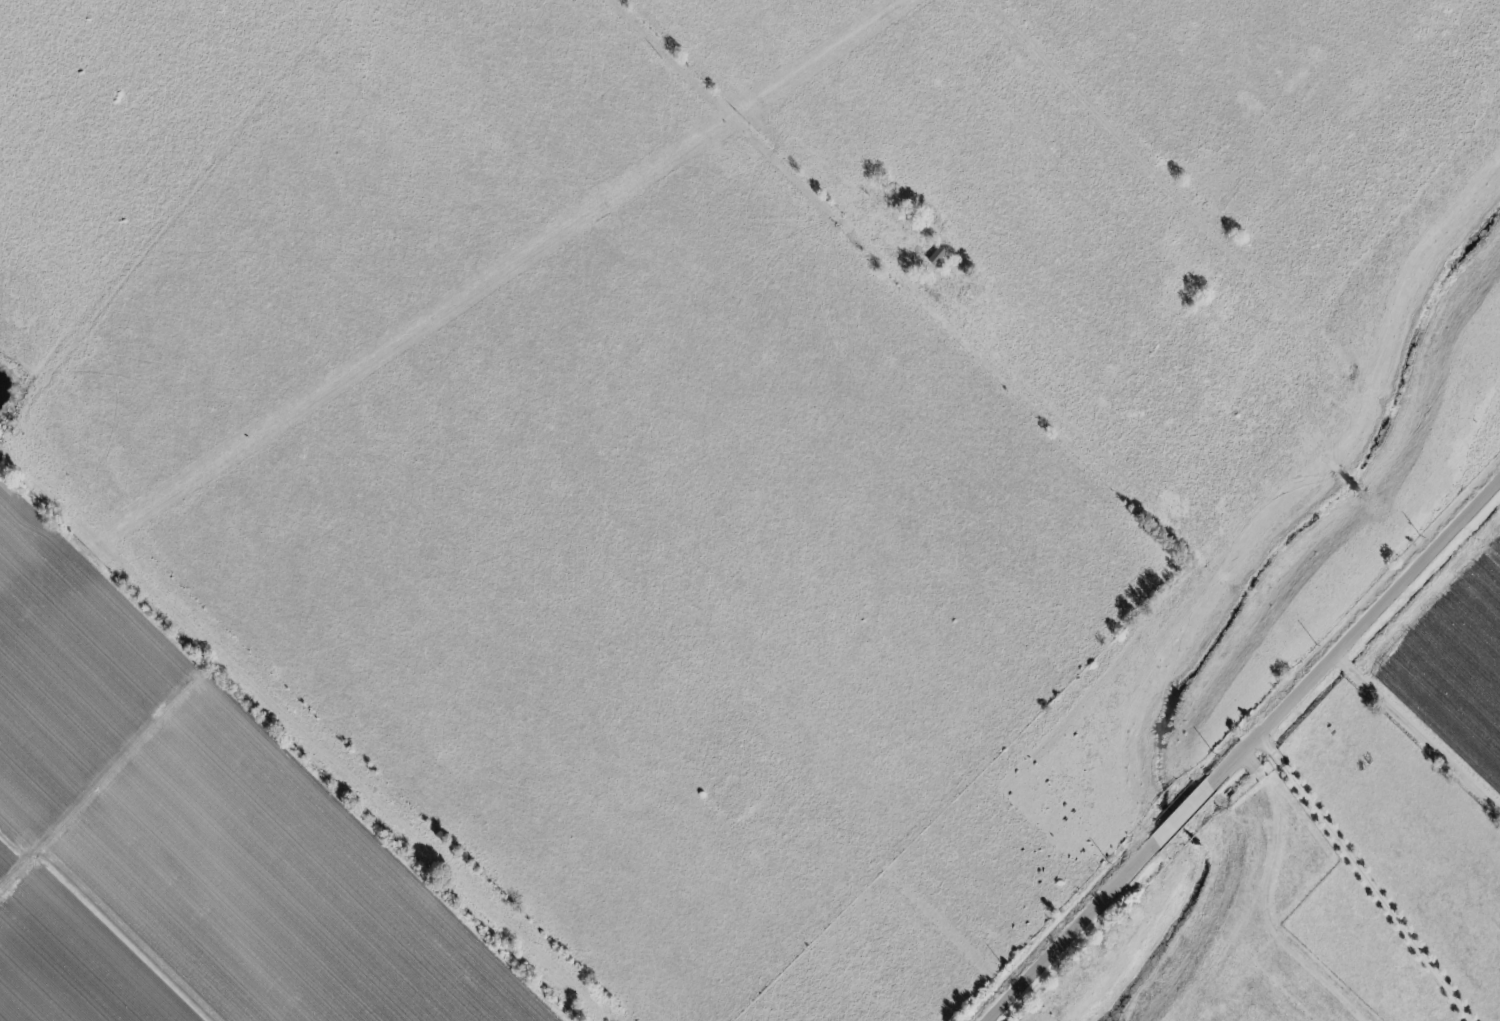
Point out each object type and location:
building: (933, 256)
road: (897, 282)
road: (1419, 727)
road: (1244, 750)
road: (1371, 874)
road: (1263, 902)

